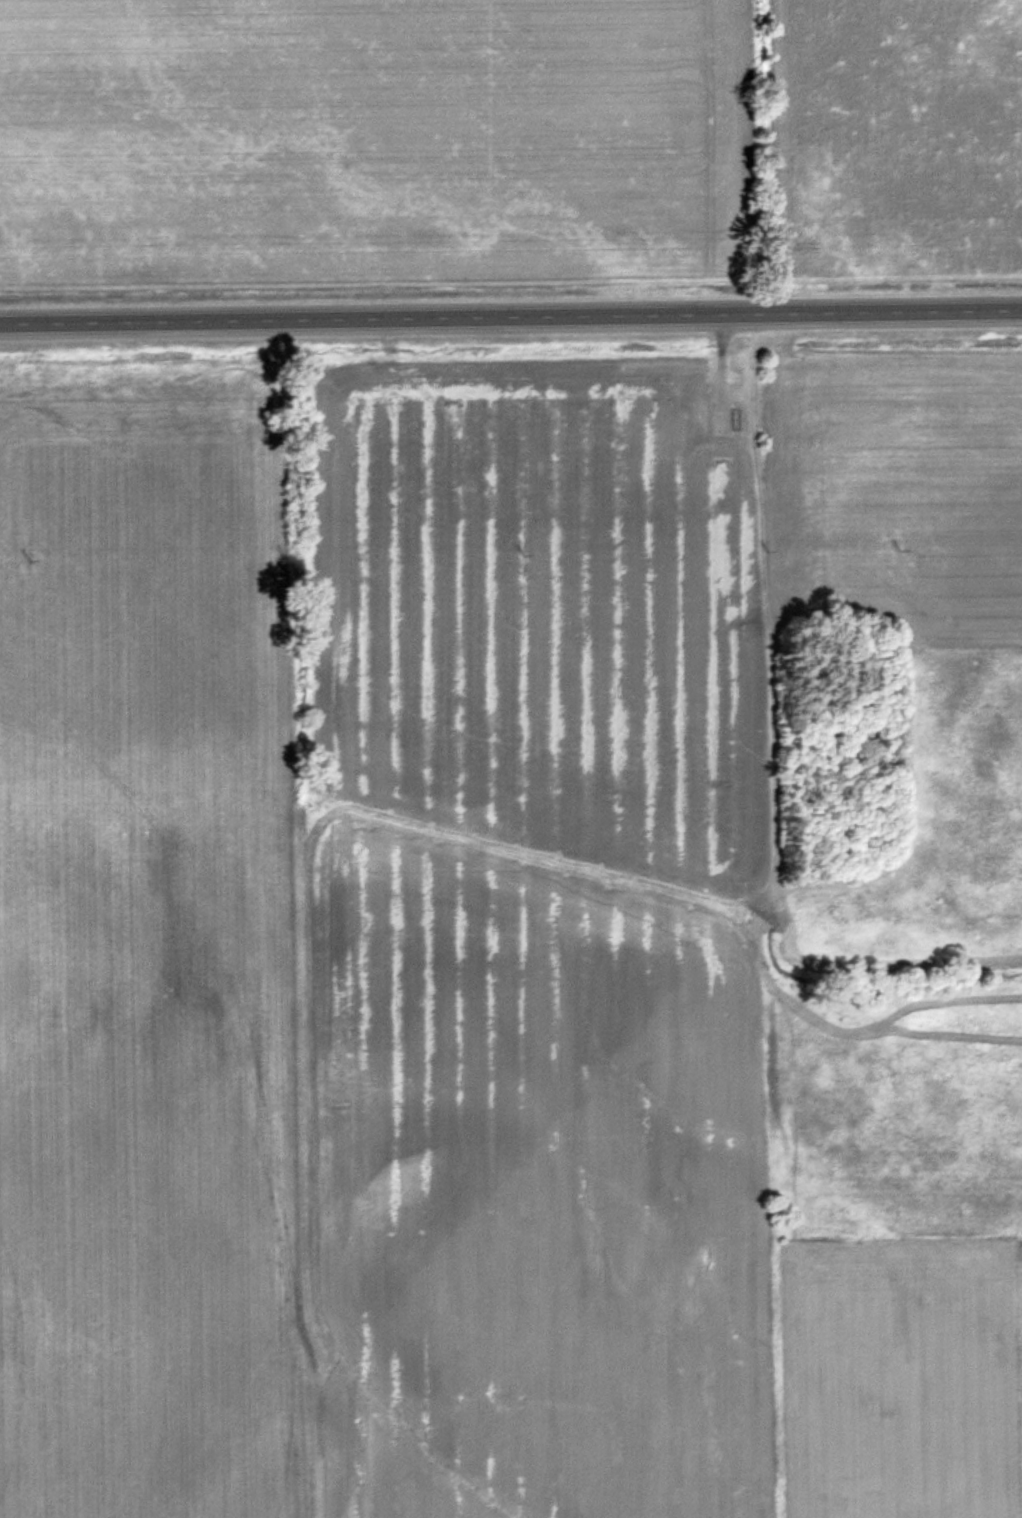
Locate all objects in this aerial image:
road: (510, 320)

